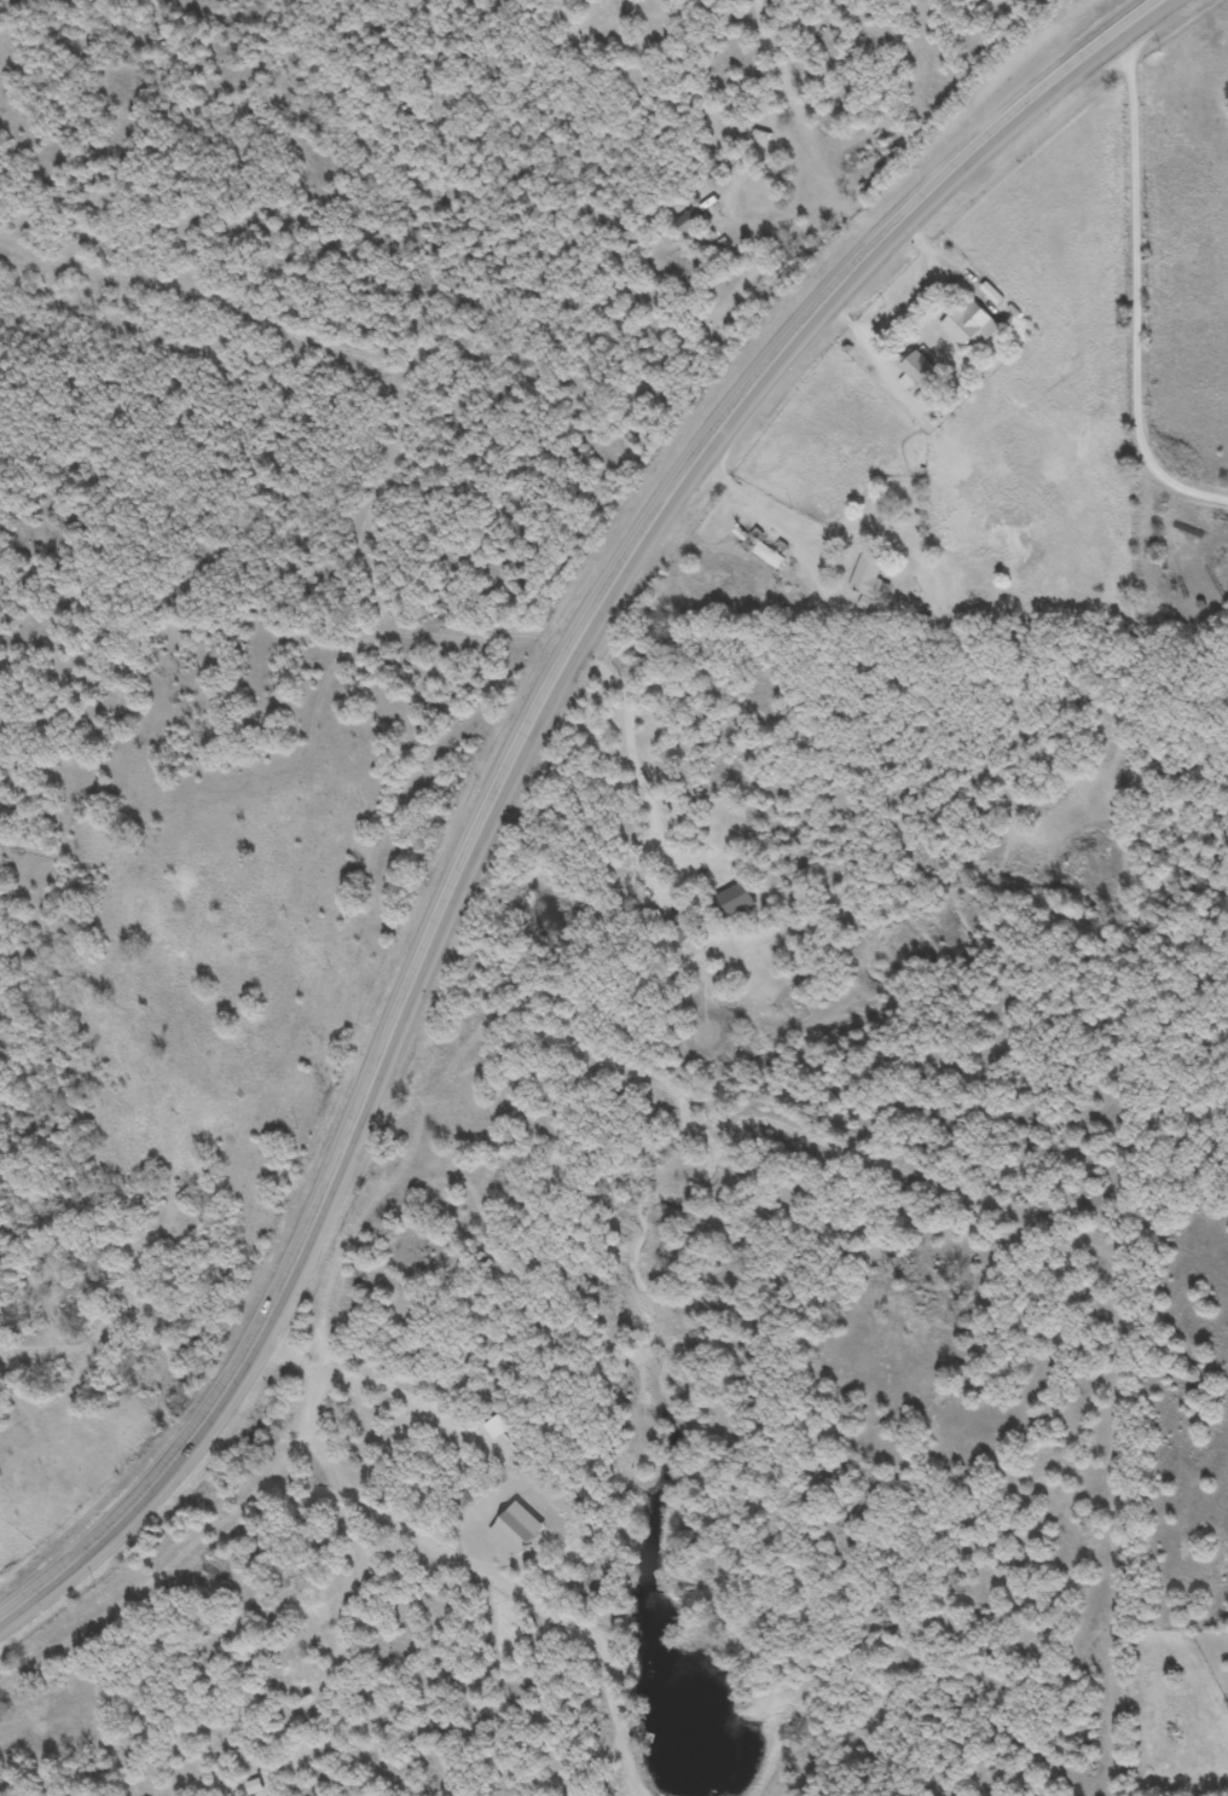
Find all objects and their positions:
building: (688, 221)
road: (1157, 261)
road: (905, 307)
building: (967, 324)
building: (916, 366)
road: (775, 526)
building: (769, 555)
building: (869, 579)
road: (639, 747)
road: (508, 764)
building: (734, 899)
building: (682, 927)

